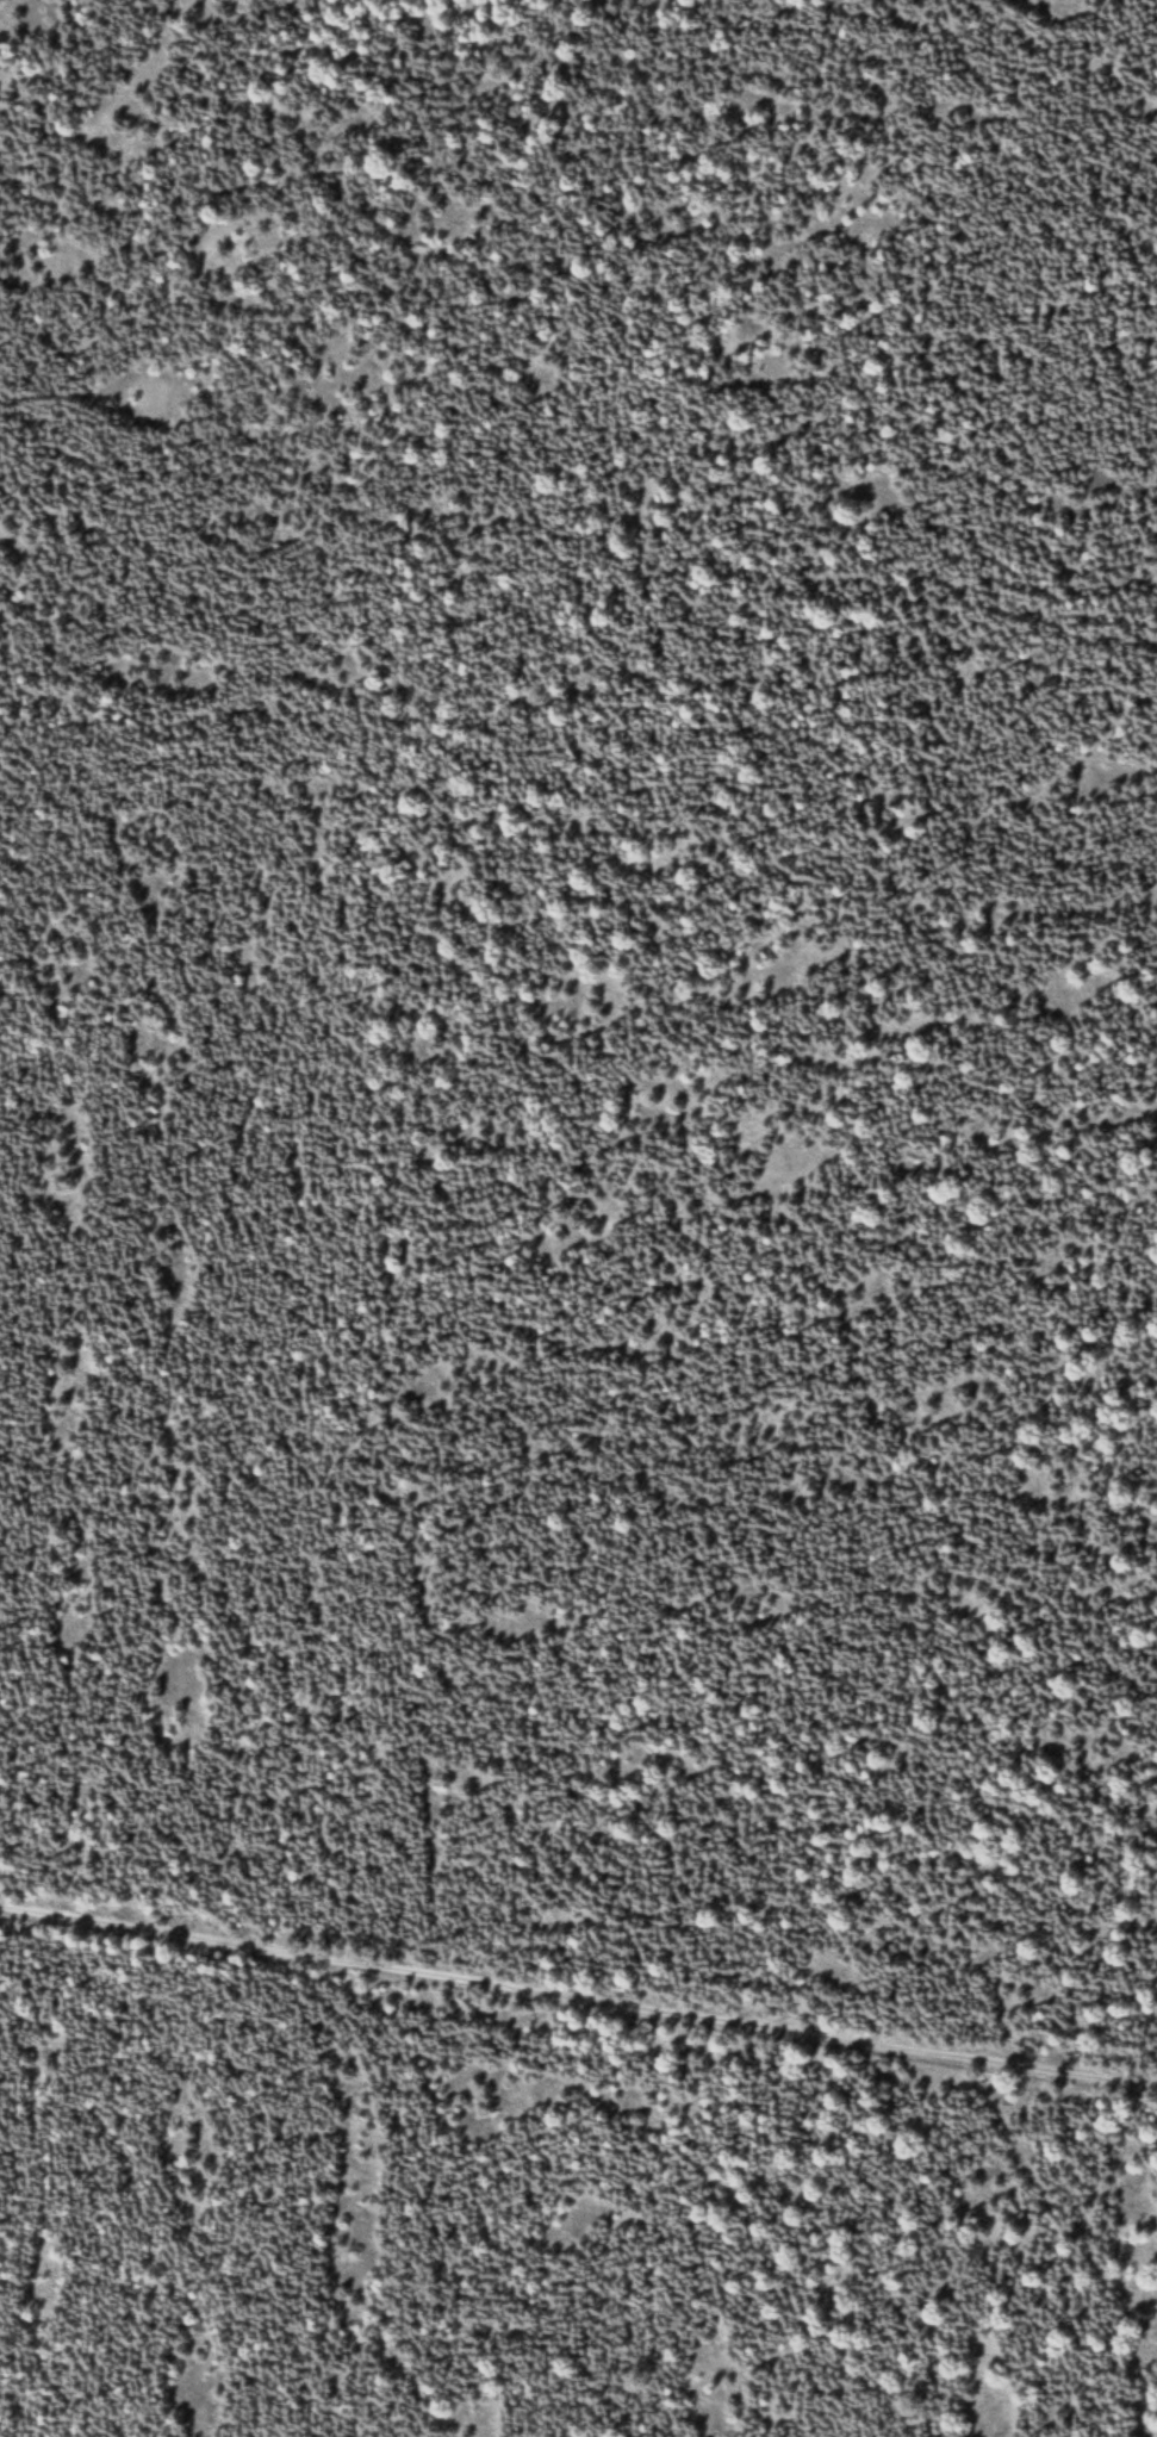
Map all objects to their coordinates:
road: (578, 1988)

